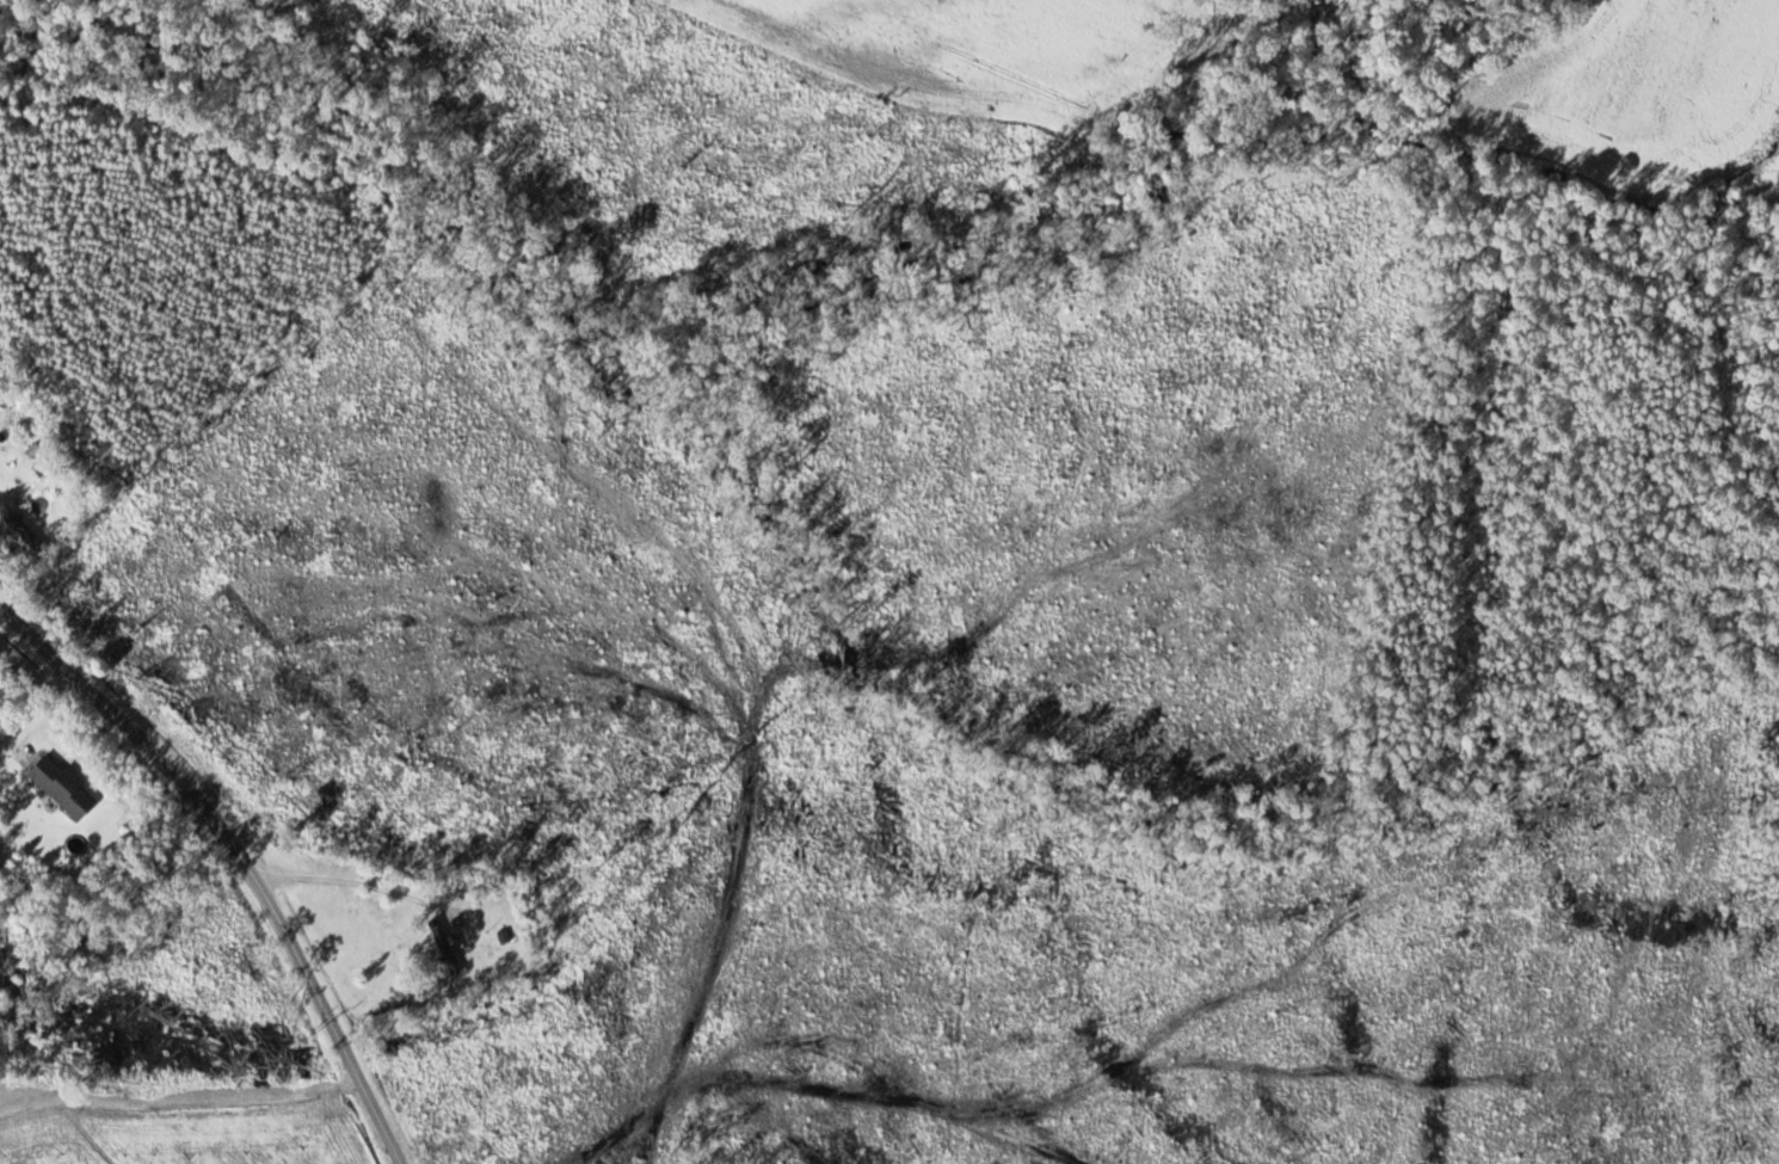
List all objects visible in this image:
river: (886, 335)
building: (62, 788)
road: (239, 857)
building: (445, 947)

